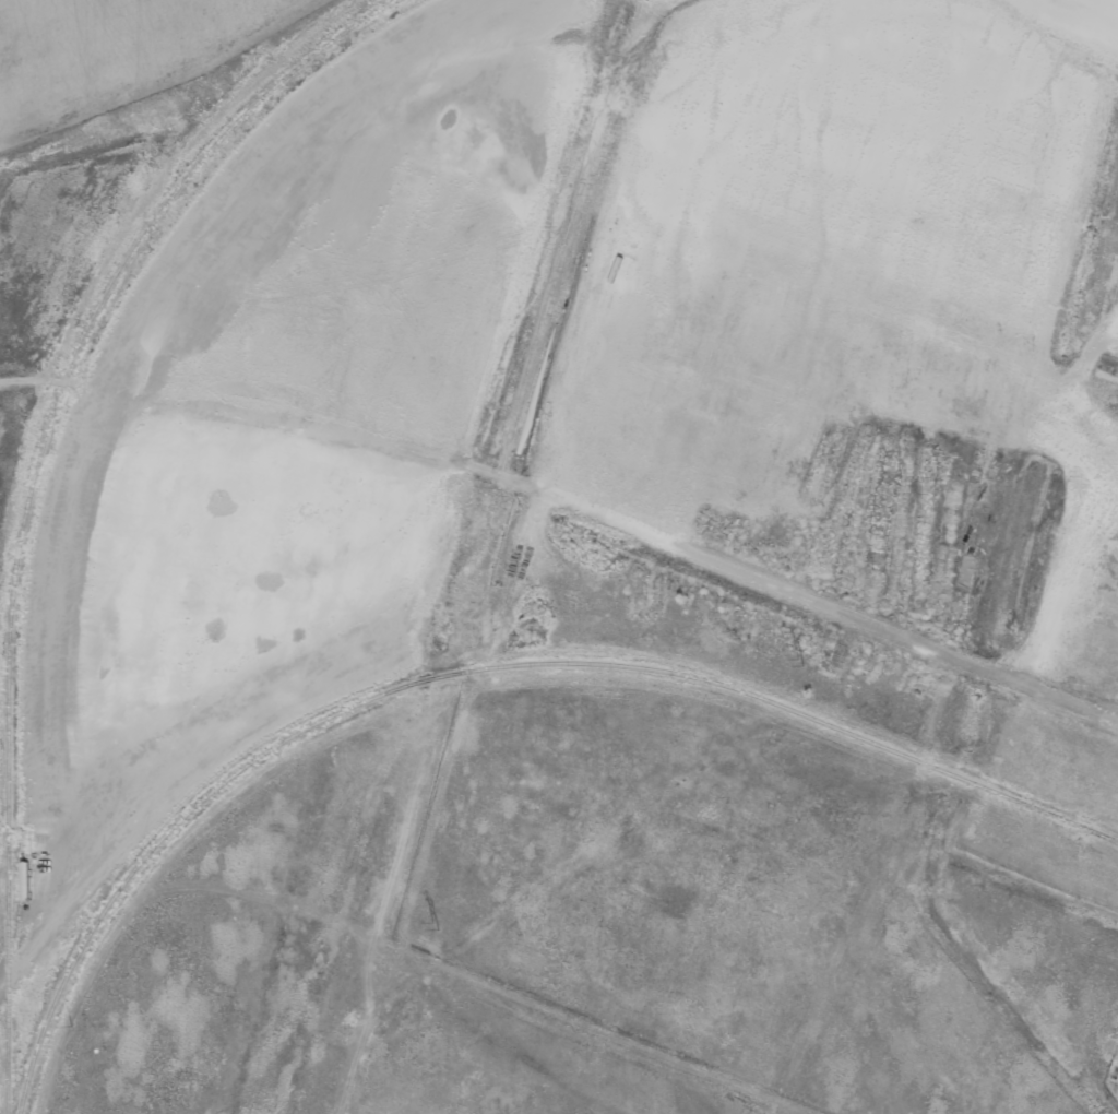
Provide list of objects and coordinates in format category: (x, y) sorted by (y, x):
railway: (34, 489)
power tower: (804, 662)
railway: (476, 669)
railway: (1104, 835)
power tower: (439, 925)

